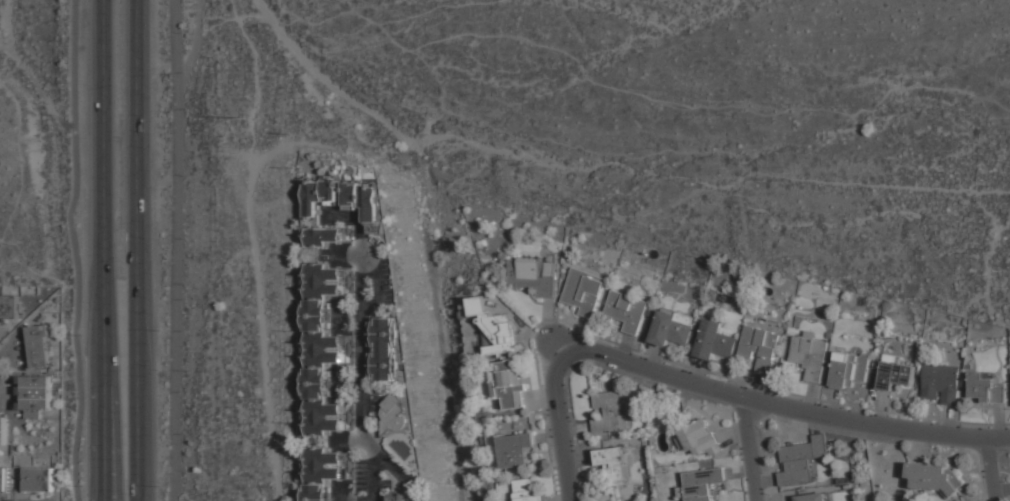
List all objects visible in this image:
road: (195, 42)
road: (599, 77)
power tower: (247, 123)
park: (692, 125)
park: (39, 142)
building: (364, 199)
building: (310, 216)
road: (103, 250)
road: (135, 250)
road: (176, 250)
building: (534, 277)
building: (583, 294)
building: (9, 307)
building: (627, 313)
building: (496, 329)
building: (982, 330)
building: (673, 332)
building: (714, 341)
building: (39, 347)
building: (760, 348)
building: (325, 350)
building: (385, 351)
building: (810, 356)
building: (849, 370)
road: (360, 374)
building: (896, 376)
building: (511, 385)
building: (941, 385)
building: (987, 390)
building: (36, 393)
road: (792, 408)
building: (610, 413)
building: (33, 414)
building: (391, 418)
road: (561, 418)
building: (3, 431)
building: (698, 439)
road: (749, 449)
building: (515, 451)
building: (800, 462)
building: (613, 466)
road: (990, 470)
building: (326, 472)
building: (933, 479)
building: (37, 480)
building: (3, 481)
building: (703, 484)
building: (525, 491)
building: (813, 497)
building: (395, 499)

